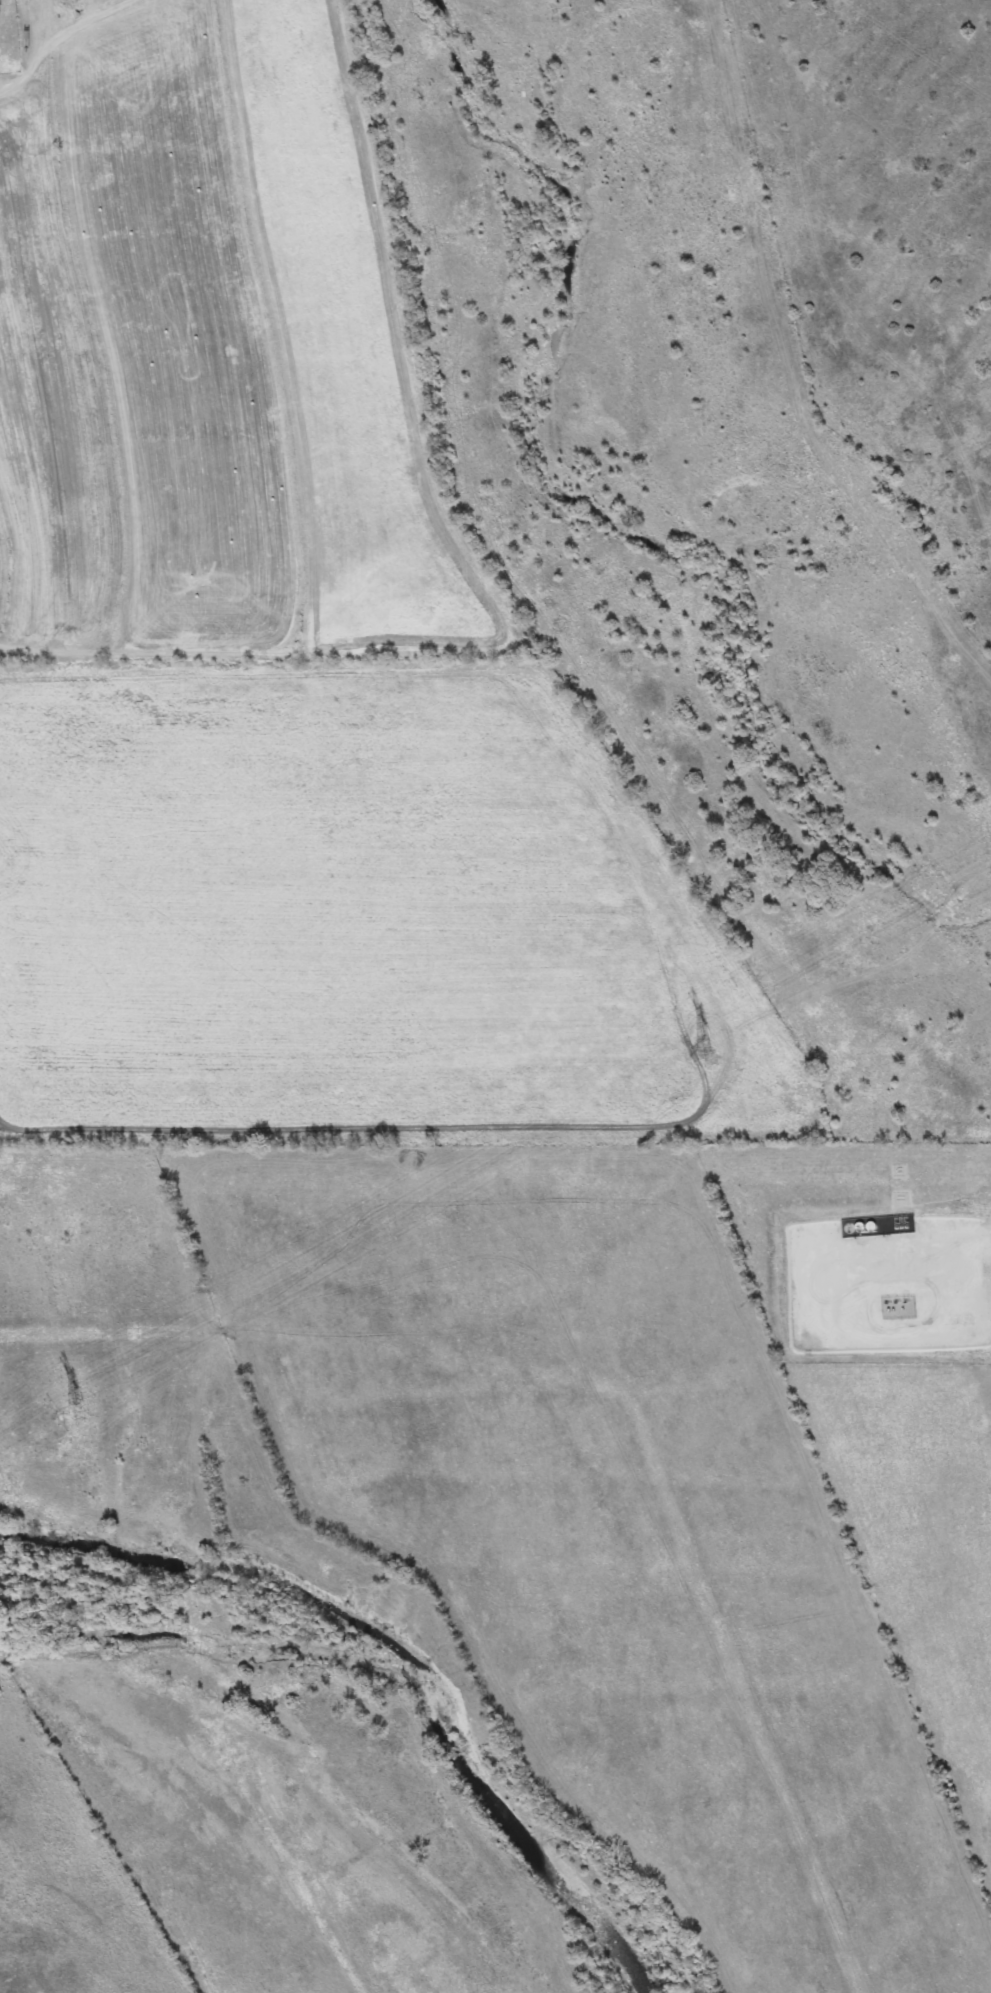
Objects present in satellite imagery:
power tower: (707, 1048)
power tower: (83, 1412)

